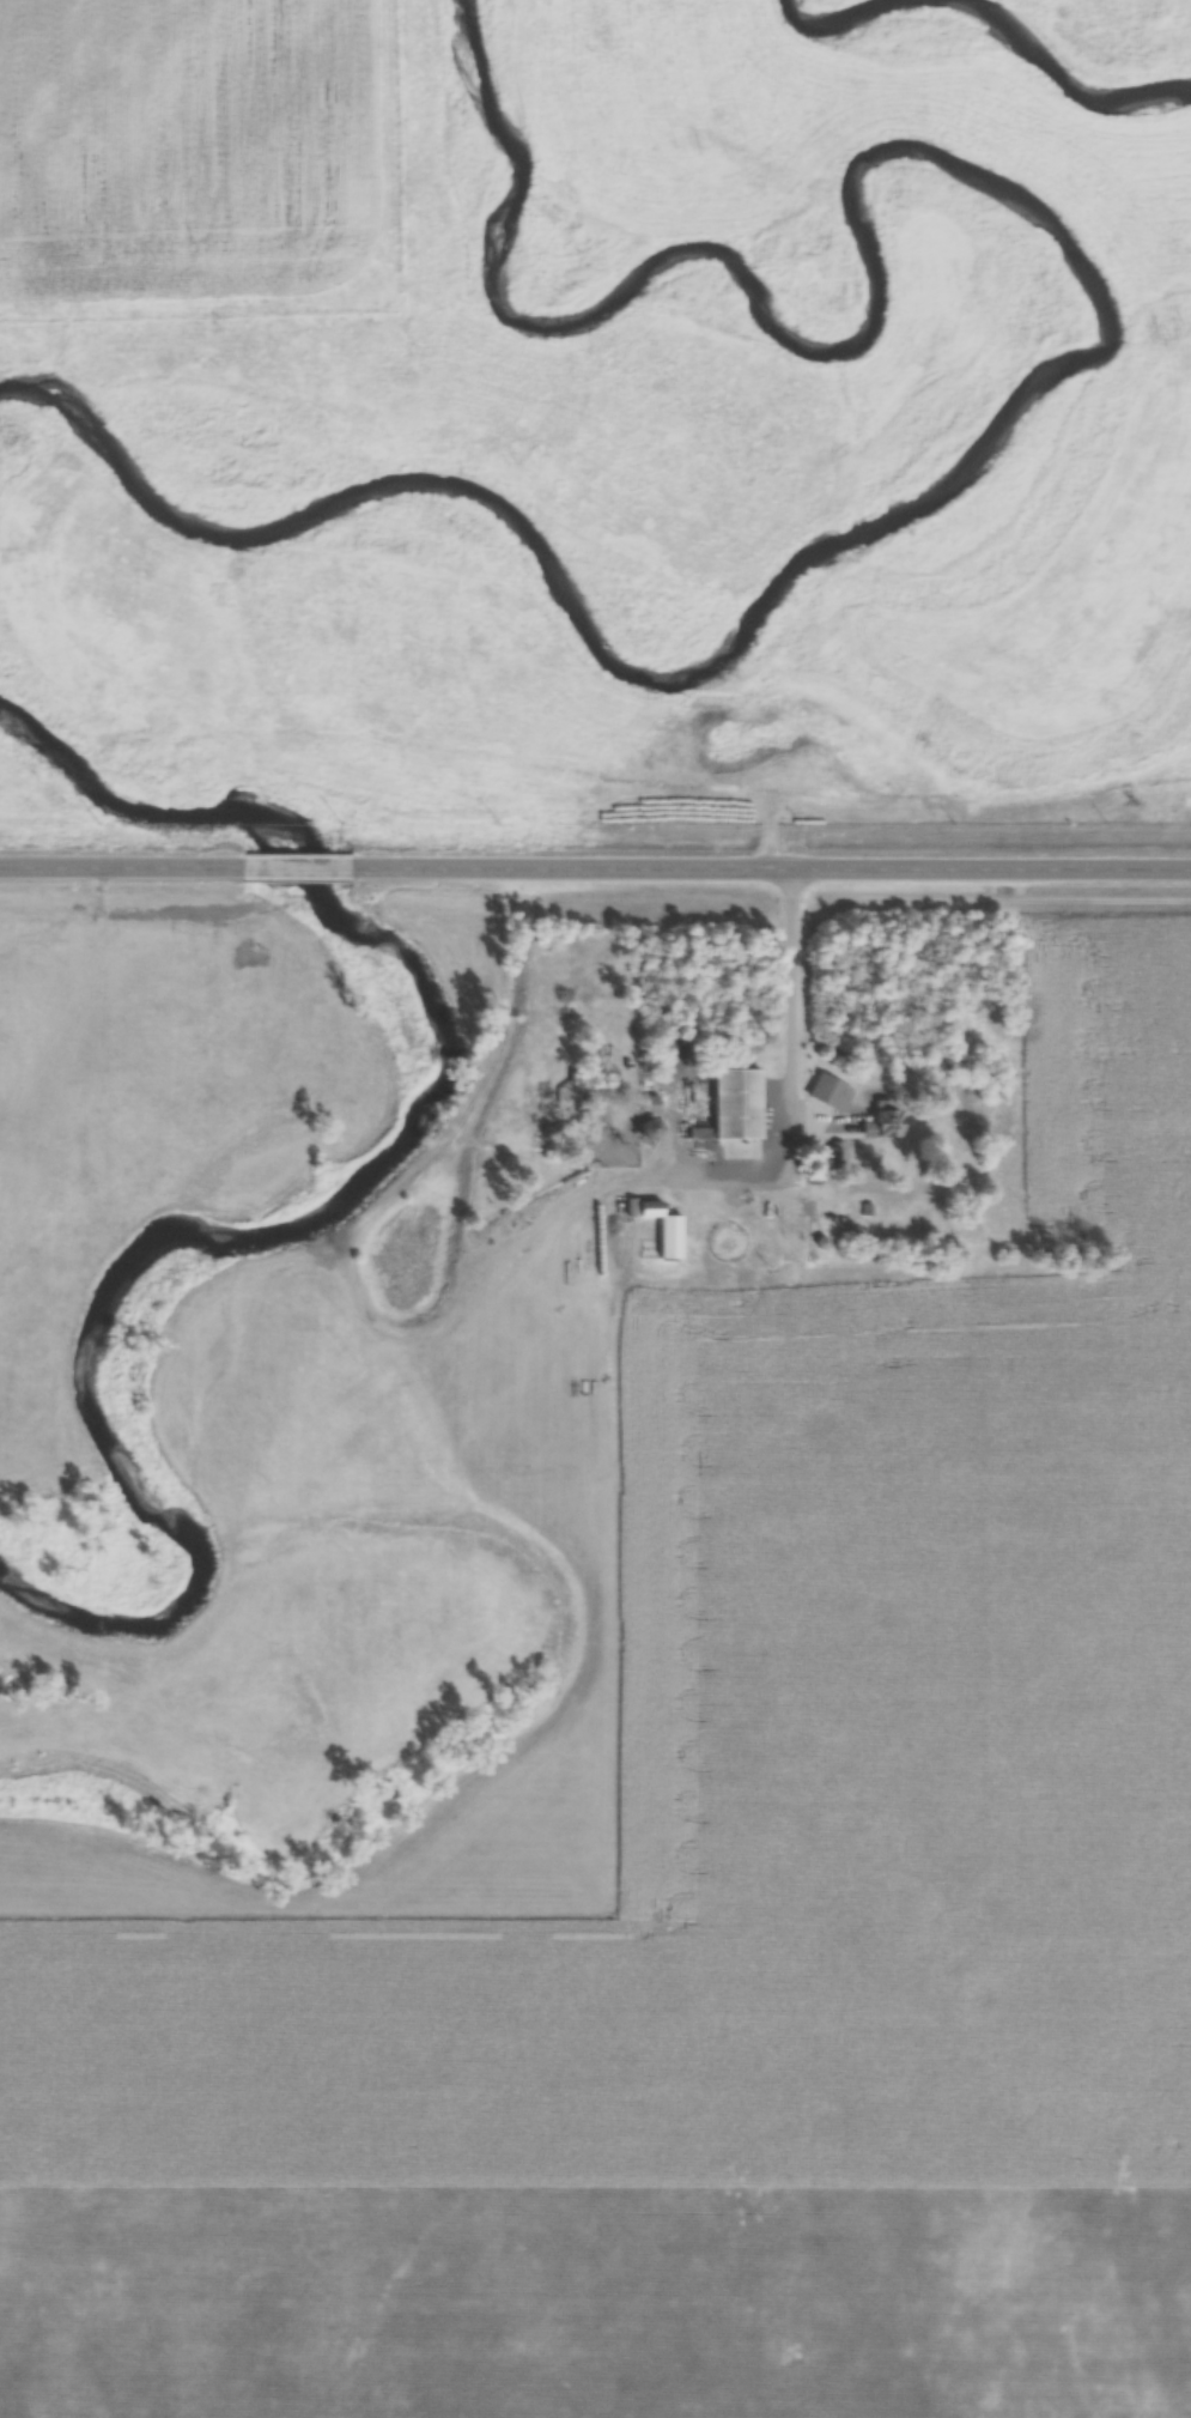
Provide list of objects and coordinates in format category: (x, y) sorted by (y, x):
river: (844, 13)
river: (1059, 71)
river: (1047, 374)
road: (122, 860)
road: (300, 861)
road: (773, 861)
road: (790, 1017)
building: (827, 1091)
building: (740, 1101)
building: (880, 1122)
building: (642, 1128)
building: (833, 1153)
river: (326, 1196)
building: (660, 1228)
building: (718, 1242)
crop: (735, 1919)

